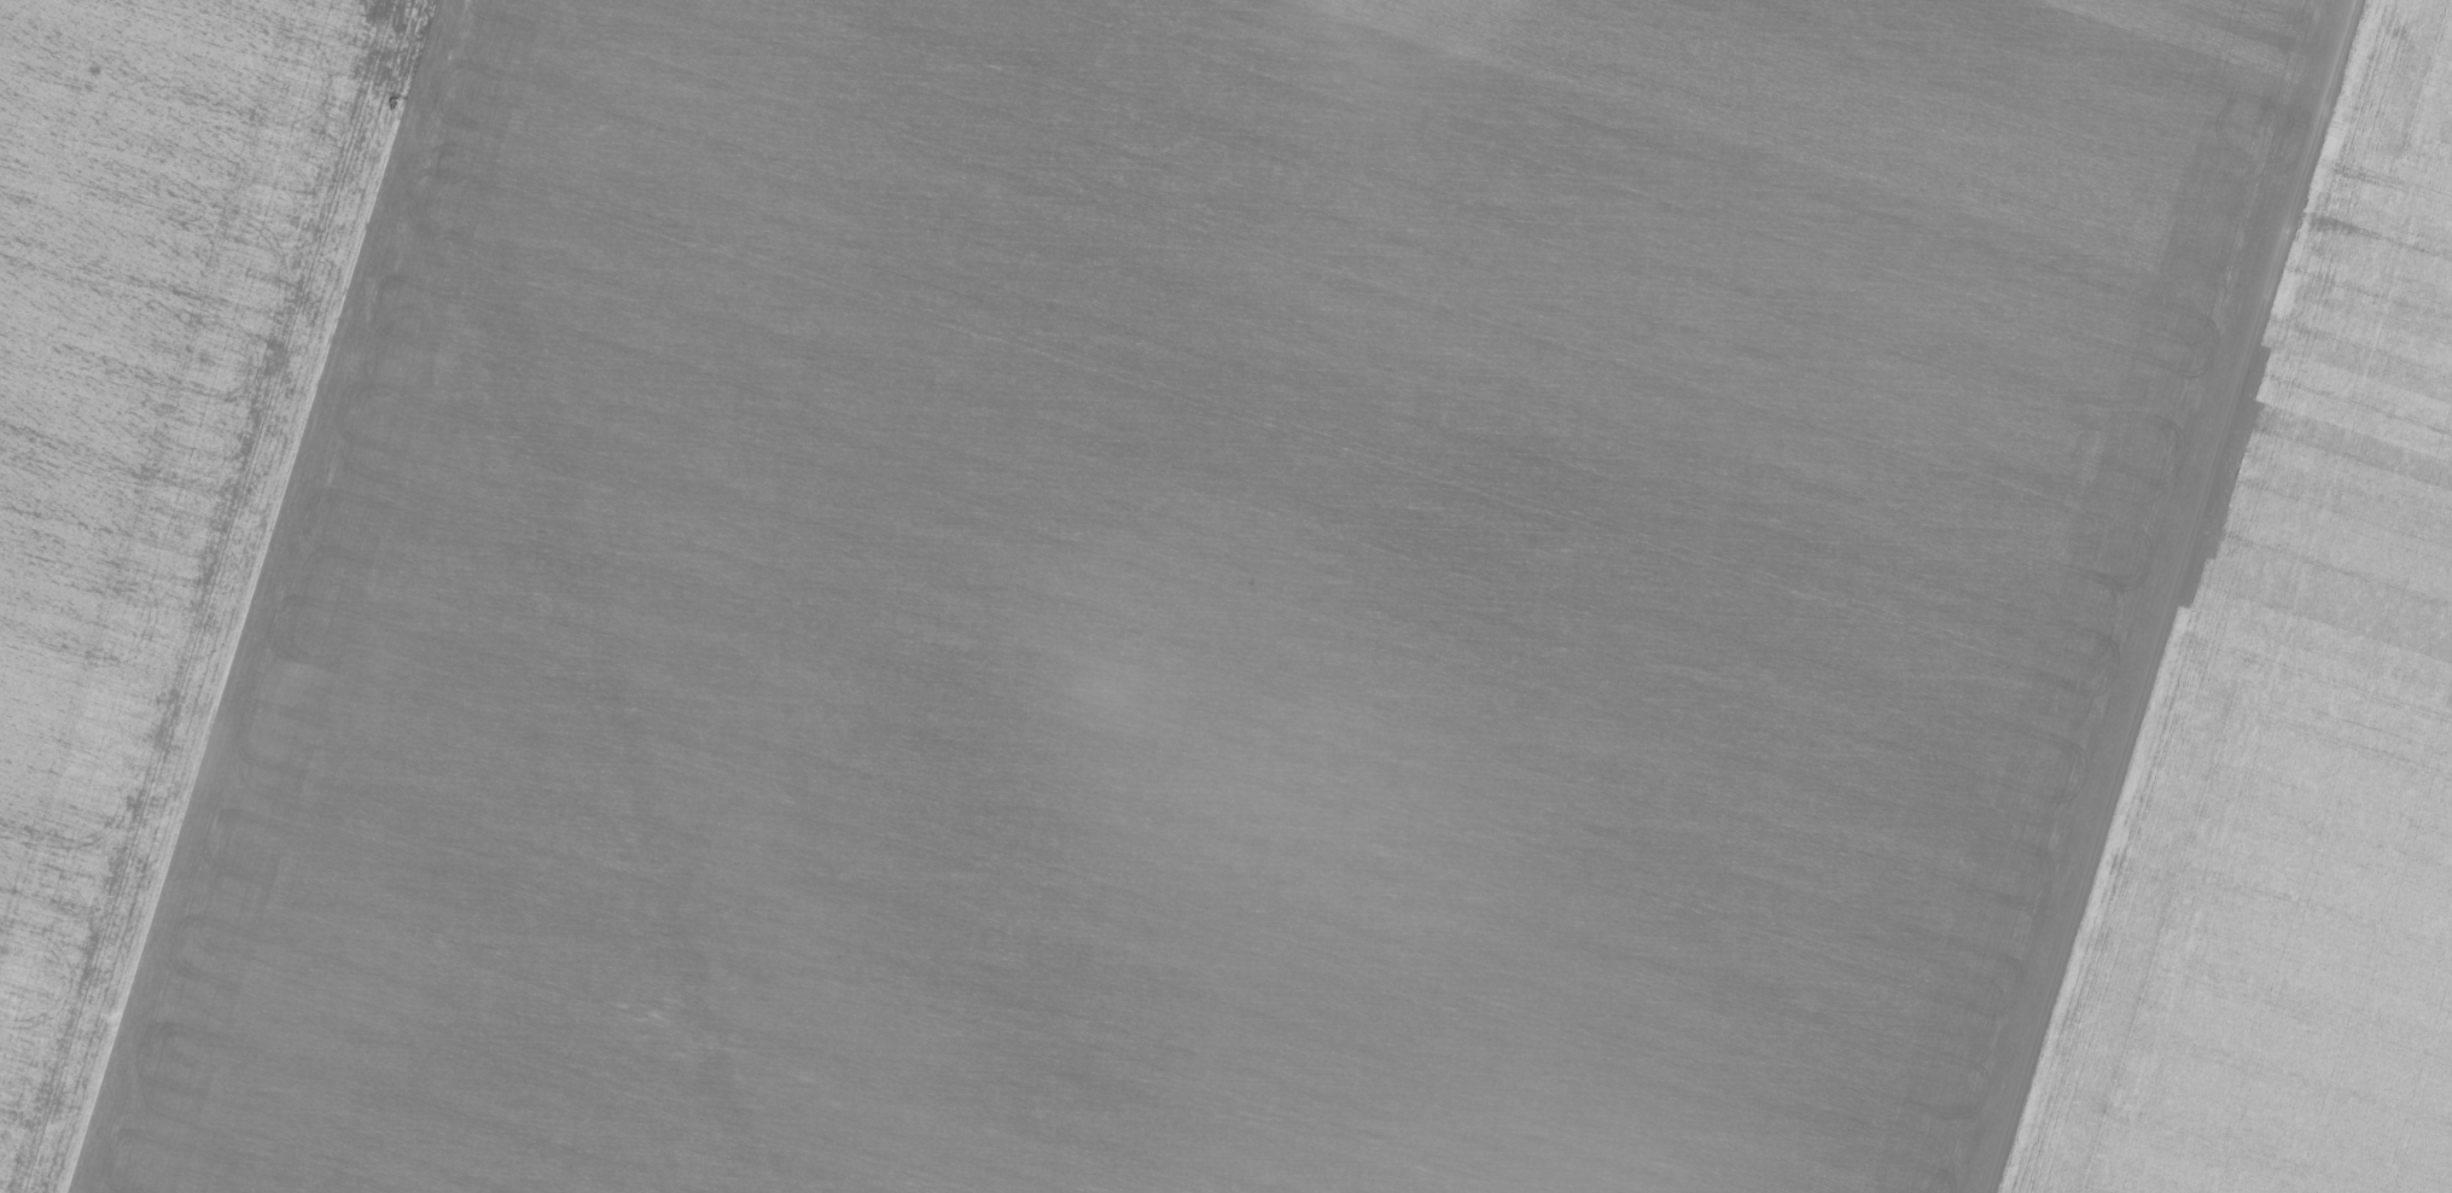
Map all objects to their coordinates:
road: (2161, 596)

